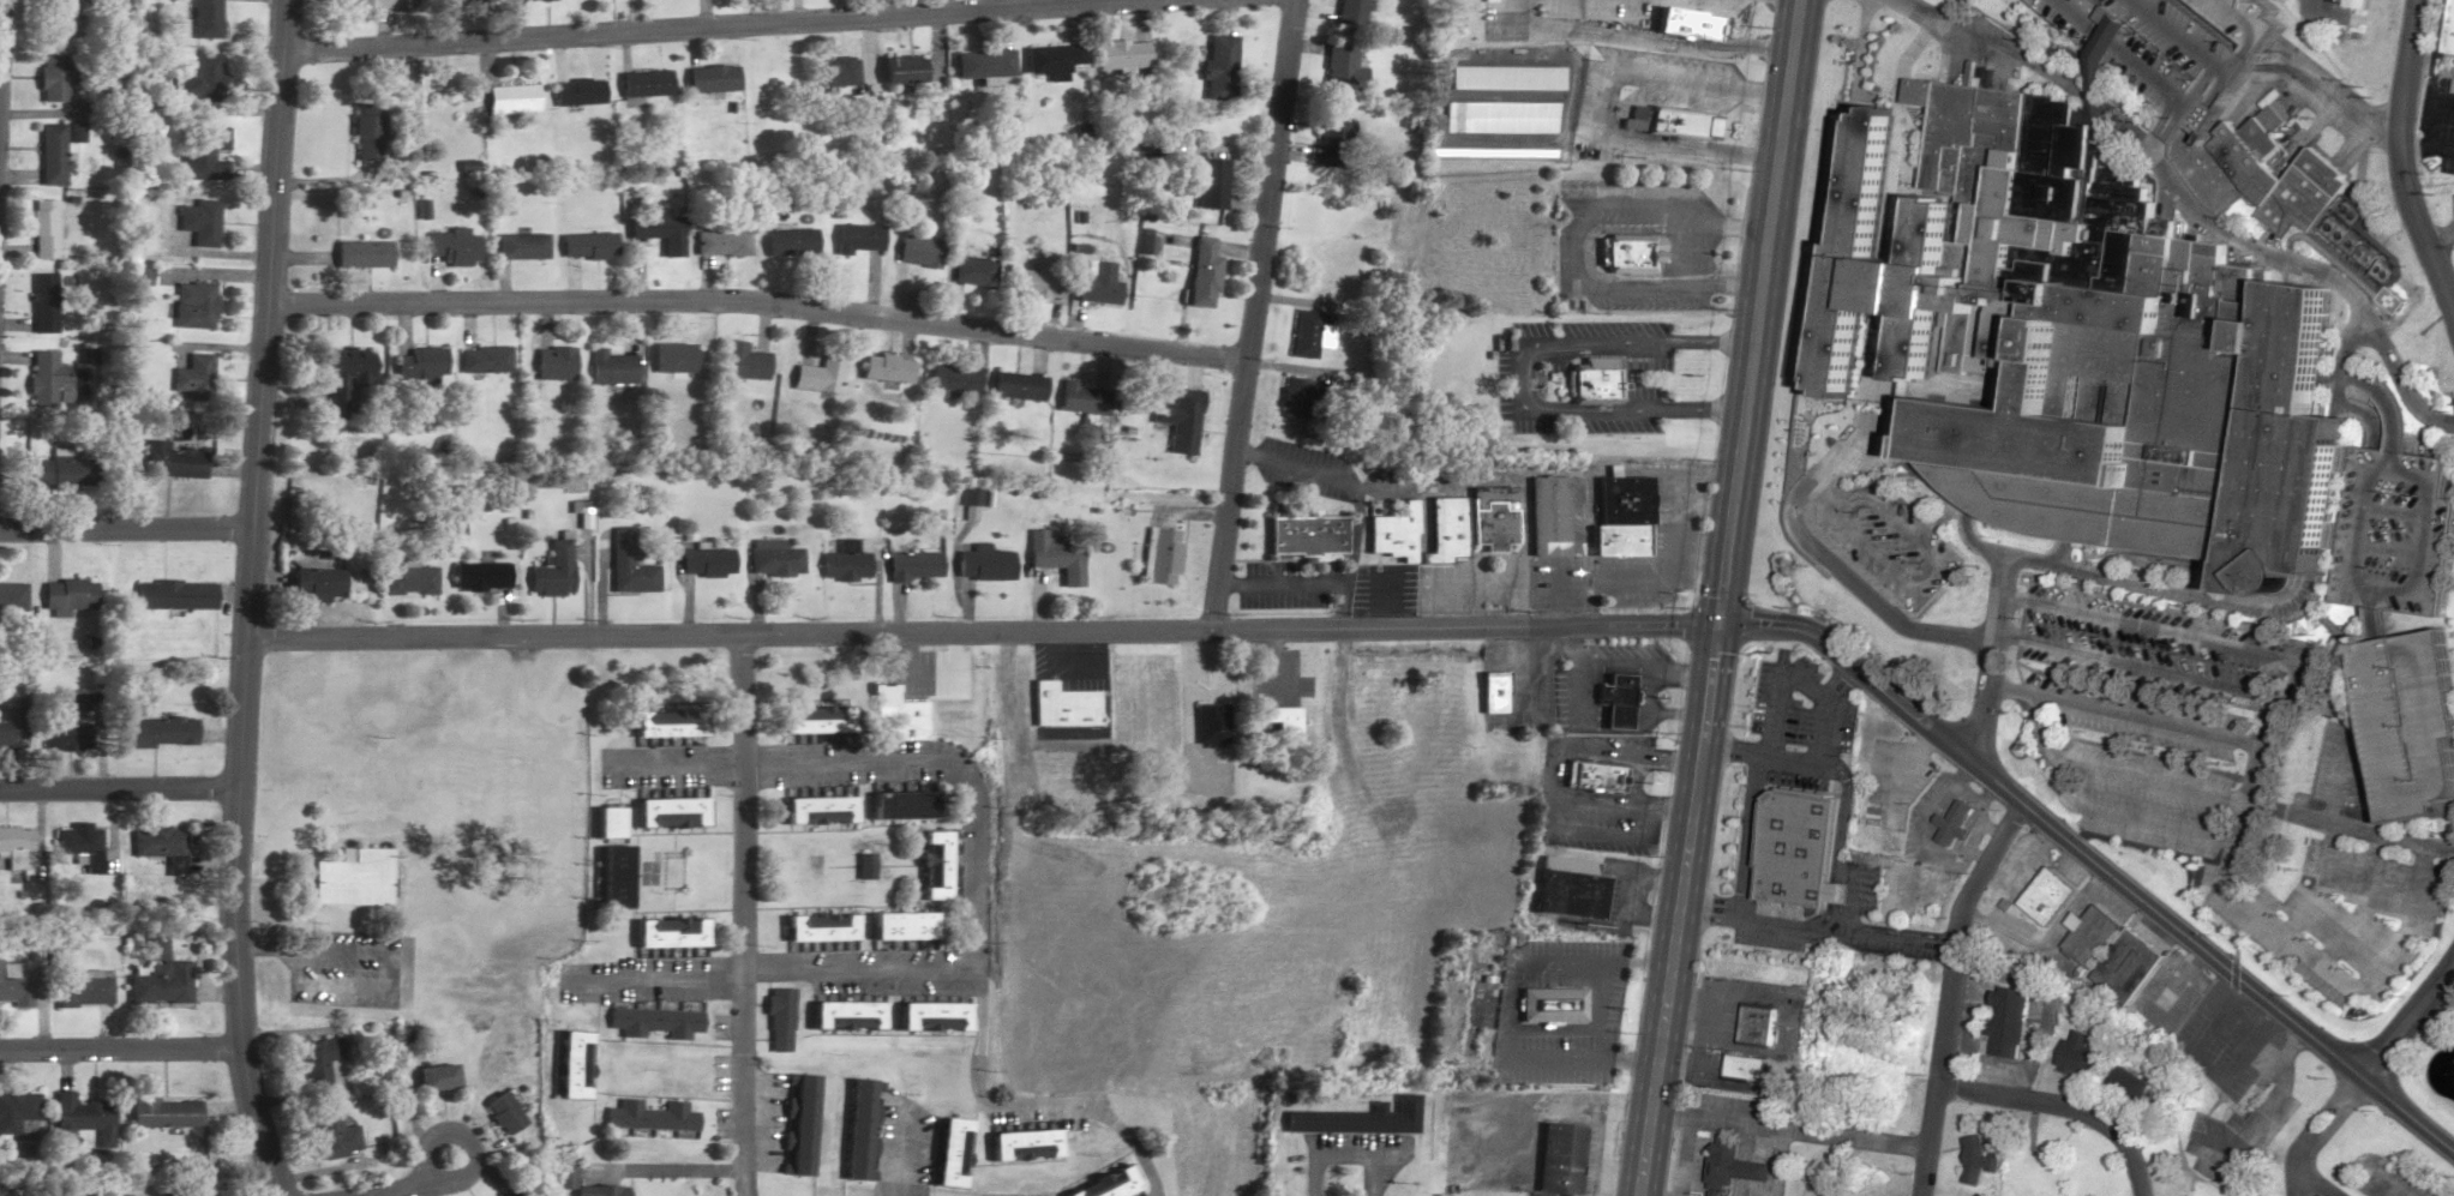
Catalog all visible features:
building: (463, 0)
road: (1794, 0)
building: (113, 4)
building: (372, 4)
building: (2356, 4)
building: (1348, 12)
building: (60, 16)
building: (204, 18)
building: (1691, 23)
road: (704, 24)
building: (2452, 38)
road: (1644, 41)
building: (1122, 54)
building: (1051, 60)
building: (980, 64)
building: (1339, 66)
building: (1217, 67)
road: (2408, 68)
building: (902, 70)
building: (836, 71)
building: (54, 77)
building: (199, 78)
building: (1505, 78)
building: (710, 79)
building: (644, 84)
building: (577, 92)
road: (2339, 96)
building: (510, 98)
road: (1613, 106)
road: (2436, 113)
building: (1500, 118)
building: (1684, 124)
building: (365, 131)
building: (1330, 136)
road: (2426, 146)
building: (202, 152)
building: (1474, 154)
building: (52, 155)
building: (2312, 175)
building: (1210, 184)
building: (2339, 221)
building: (197, 222)
building: (42, 229)
building: (655, 229)
road: (2422, 229)
road: (2440, 236)
building: (856, 238)
building: (788, 242)
building: (720, 244)
building: (522, 246)
building: (587, 246)
road: (1568, 247)
road: (1693, 247)
building: (450, 248)
building: (917, 251)
building: (1634, 252)
building: (359, 254)
building: (973, 271)
building: (1201, 272)
building: (1040, 281)
building: (1097, 283)
helipad: (2408, 294)
road: (757, 301)
building: (43, 302)
building: (192, 305)
road: (1252, 317)
building: (1308, 333)
building: (2087, 339)
building: (672, 357)
building: (481, 359)
building: (744, 361)
building: (554, 362)
building: (416, 363)
building: (613, 367)
building: (887, 368)
road: (1528, 372)
building: (821, 374)
building: (341, 375)
building: (44, 377)
building: (191, 378)
building: (952, 378)
building: (1594, 381)
building: (1018, 386)
building: (1295, 397)
building: (1081, 398)
building: (1182, 420)
building: (172, 459)
building: (61, 470)
road: (2000, 499)
building: (1630, 501)
building: (1493, 518)
building: (1556, 518)
building: (1446, 529)
road: (126, 530)
building: (2400, 534)
building: (1304, 535)
building: (1394, 535)
building: (1626, 542)
building: (1055, 555)
building: (1159, 555)
building: (775, 561)
building: (704, 563)
building: (845, 563)
building: (983, 564)
building: (628, 565)
building: (912, 566)
road: (1837, 569)
road: (2066, 569)
building: (551, 572)
building: (479, 577)
building: (408, 582)
road: (1648, 582)
building: (313, 584)
road: (1919, 585)
building: (68, 594)
building: (174, 595)
road: (1720, 597)
building: (11, 599)
road: (1560, 599)
road: (246, 600)
road: (2155, 631)
road: (726, 636)
road: (2146, 668)
road: (1649, 669)
road: (1682, 673)
road: (1781, 673)
building: (1495, 692)
road: (1586, 697)
road: (738, 701)
building: (1621, 702)
building: (1060, 707)
road: (1897, 708)
building: (893, 714)
road: (2124, 714)
building: (812, 722)
building: (1210, 722)
building: (661, 723)
building: (68, 726)
road: (1626, 726)
building: (2412, 726)
building: (1283, 728)
road: (1825, 729)
building: (157, 732)
road: (2270, 732)
building: (12, 733)
road: (666, 767)
road: (1561, 774)
road: (2119, 774)
building: (1598, 777)
road: (2345, 779)
road: (1638, 782)
road: (116, 786)
road: (1990, 797)
road: (1980, 800)
building: (898, 806)
building: (814, 811)
building: (665, 812)
road: (2134, 819)
building: (604, 822)
building: (1956, 822)
road: (2351, 825)
road: (2419, 831)
road: (1603, 833)
road: (1847, 841)
building: (84, 843)
building: (163, 845)
building: (17, 846)
building: (1804, 848)
building: (930, 865)
road: (1748, 865)
road: (2020, 869)
building: (355, 877)
building: (611, 877)
road: (2326, 885)
building: (1577, 890)
road: (1634, 895)
building: (2052, 896)
road: (2366, 906)
road: (1796, 928)
building: (900, 930)
building: (816, 932)
building: (2092, 934)
building: (668, 937)
road: (2326, 967)
building: (2129, 968)
road: (763, 969)
building: (162, 978)
road: (652, 981)
road: (2172, 987)
building: (16, 990)
building: (84, 991)
road: (1950, 994)
building: (1558, 1006)
road: (1604, 1009)
building: (846, 1015)
road: (1514, 1015)
building: (932, 1016)
building: (779, 1020)
building: (654, 1022)
building: (2005, 1022)
road: (2406, 1022)
building: (1753, 1026)
road: (1558, 1030)
road: (119, 1047)
building: (2077, 1054)
building: (323, 1056)
building: (575, 1064)
building: (1744, 1066)
building: (440, 1077)
road: (743, 1080)
road: (2201, 1080)
building: (2126, 1084)
road: (1016, 1107)
road: (2063, 1107)
building: (18, 1111)
building: (167, 1112)
building: (506, 1113)
building: (650, 1117)
building: (85, 1119)
building: (1363, 1122)
building: (799, 1124)
building: (860, 1129)
road: (1790, 1129)
building: (337, 1131)
road: (2317, 1136)
building: (1026, 1144)
building: (950, 1152)
road: (1324, 1156)
road: (1687, 1156)
building: (1560, 1159)
road: (1758, 1160)
building: (1976, 1160)
building: (1734, 1166)
building: (563, 1171)
road: (1374, 1176)
road: (2314, 1180)
building: (1109, 1185)
road: (2394, 1185)
road: (412, 1191)
building: (511, 1194)
building: (516, 1194)

